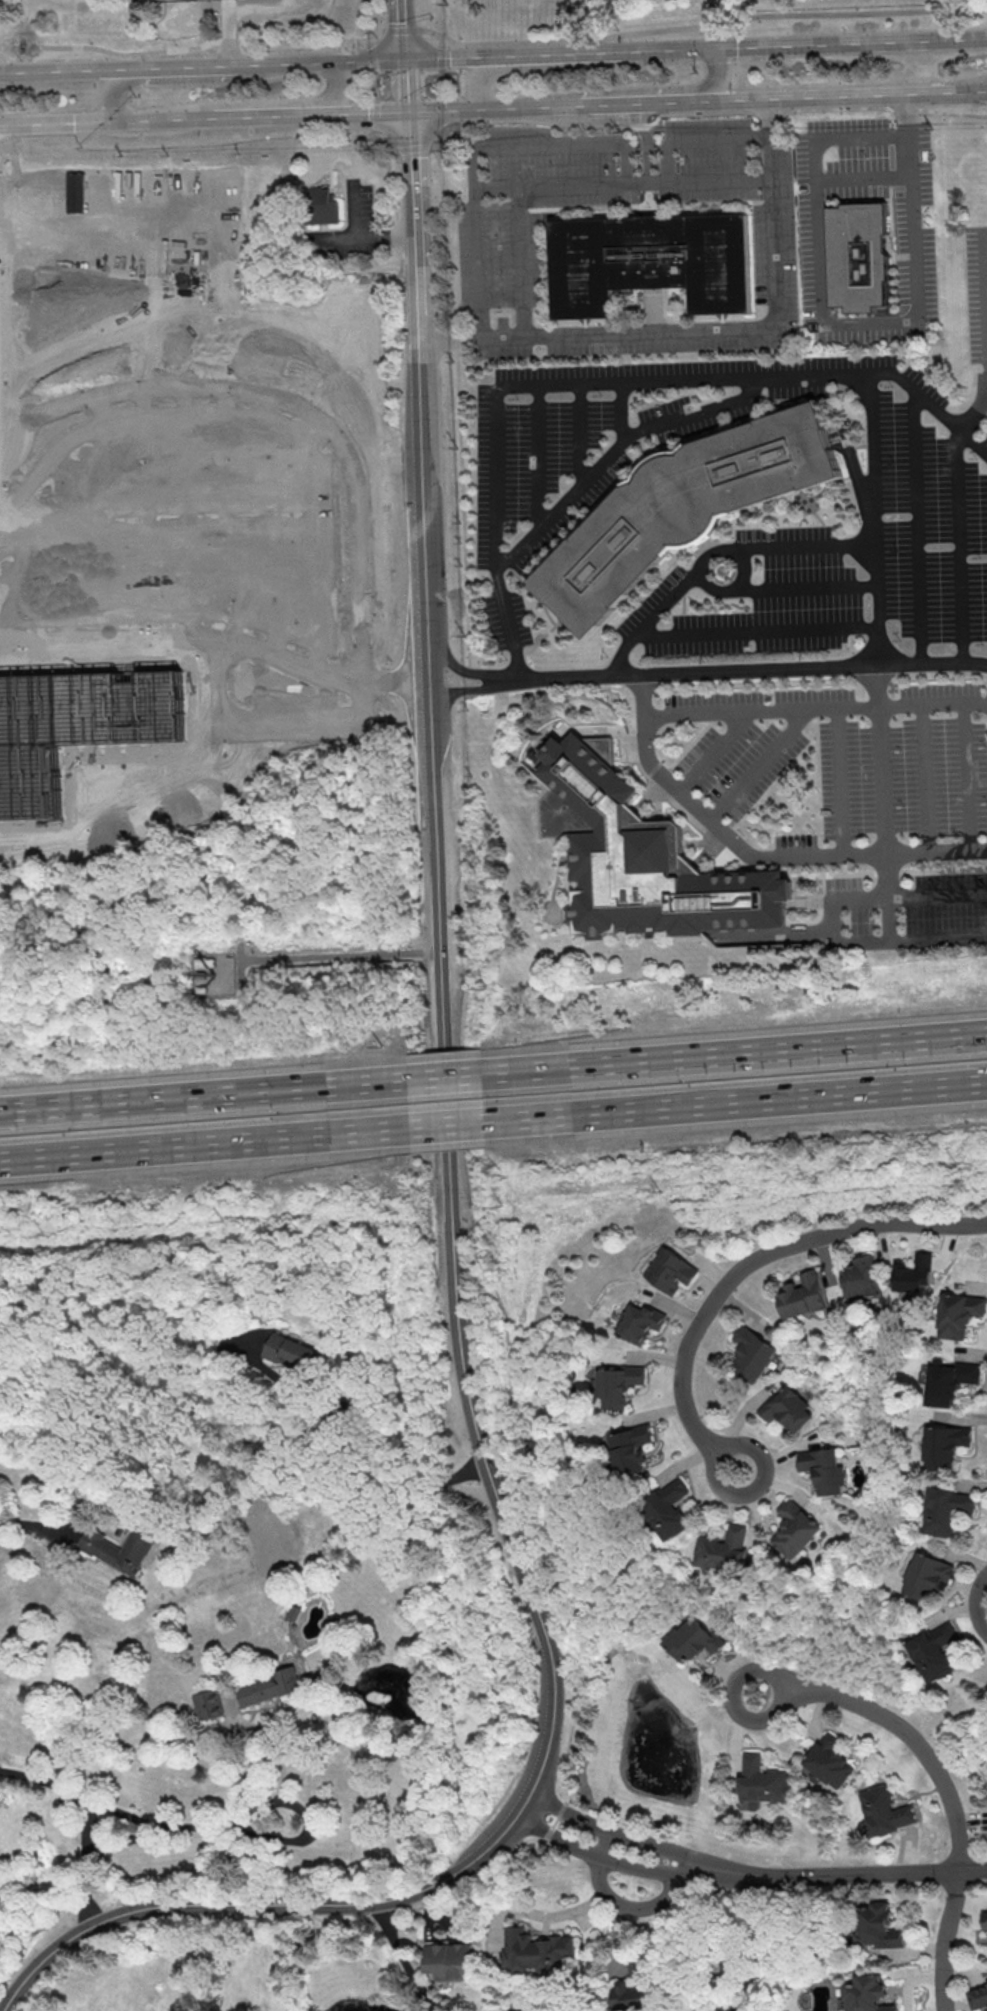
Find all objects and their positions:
power substation: (154, 0)
road: (377, 14)
road: (446, 19)
road: (700, 24)
road: (400, 28)
road: (407, 28)
road: (233, 31)
road: (312, 40)
road: (229, 41)
road: (373, 41)
road: (841, 41)
road: (442, 42)
traffic signals: (695, 46)
road: (600, 50)
road: (112, 51)
road: (456, 56)
traffic signals: (408, 58)
road: (366, 59)
road: (294, 62)
road: (208, 64)
road: (77, 69)
road: (718, 73)
road: (481, 77)
road: (116, 85)
road: (409, 86)
road: (375, 87)
road: (443, 89)
road: (985, 90)
road: (334, 93)
road: (837, 95)
road: (629, 103)
road: (546, 107)
road: (505, 109)
road: (447, 111)
traffic signals: (411, 114)
road: (355, 115)
road: (700, 115)
road: (212, 117)
traffic signals: (125, 121)
road: (62, 122)
road: (375, 133)
road: (700, 140)
road: (547, 143)
road: (412, 145)
road: (201, 148)
road: (862, 178)
road: (552, 182)
building: (76, 192)
building: (319, 208)
road: (359, 237)
road: (330, 238)
parking lot: (499, 257)
building: (860, 258)
road: (517, 259)
building: (651, 263)
parking lot: (915, 268)
parking lot: (974, 290)
road: (984, 290)
road: (843, 324)
road: (709, 328)
road: (420, 377)
road: (608, 381)
road: (292, 407)
road: (103, 409)
road: (620, 410)
road: (579, 432)
road: (383, 440)
road: (611, 448)
road: (538, 454)
road: (38, 476)
parking lot: (537, 492)
road: (186, 509)
building: (682, 509)
road: (143, 511)
road: (229, 513)
road: (959, 518)
road: (271, 526)
road: (106, 529)
road: (918, 529)
road: (63, 543)
road: (314, 544)
road: (799, 547)
road: (724, 549)
road: (23, 575)
road: (801, 587)
road: (666, 600)
road: (754, 631)
road: (185, 634)
road: (618, 653)
road: (877, 656)
road: (430, 667)
road: (753, 670)
road: (469, 673)
road: (396, 683)
road: (476, 689)
road: (642, 694)
road: (815, 706)
building: (81, 733)
parking lot: (748, 738)
road: (714, 749)
parking lot: (944, 759)
road: (756, 762)
road: (965, 775)
road: (924, 776)
road: (841, 780)
parking lot: (813, 847)
road: (775, 857)
building: (639, 860)
parking lot: (905, 913)
road: (832, 919)
road: (440, 933)
road: (342, 957)
road: (735, 1054)
road: (446, 1077)
road: (204, 1096)
road: (735, 1102)
road: (448, 1126)
road: (205, 1145)
power tower: (506, 1207)
road: (749, 1262)
building: (669, 1271)
building: (913, 1272)
building: (858, 1277)
road: (496, 1292)
building: (802, 1294)
building: (956, 1314)
building: (639, 1322)
building: (291, 1352)
building: (751, 1354)
building: (946, 1380)
building: (617, 1384)
building: (786, 1408)
road: (365, 1438)
building: (943, 1446)
building: (630, 1449)
building: (823, 1469)
building: (667, 1509)
building: (944, 1510)
road: (34, 1525)
building: (793, 1528)
building: (120, 1547)
building: (721, 1550)
building: (925, 1575)
road: (977, 1600)
building: (691, 1639)
building: (934, 1651)
building: (266, 1686)
building: (207, 1704)
road: (905, 1731)
road: (280, 1761)
building: (829, 1762)
road: (535, 1778)
building: (762, 1782)
building: (885, 1810)
road: (138, 1821)
road: (638, 1840)
building: (91, 1842)
road: (118, 1843)
road: (607, 1845)
road: (629, 1864)
road: (83, 1866)
road: (869, 1874)
road: (631, 1906)
building: (879, 1926)
road: (945, 1940)
building: (539, 1951)
road: (399, 1957)
building: (450, 1960)
building: (869, 1994)
building: (978, 1997)

